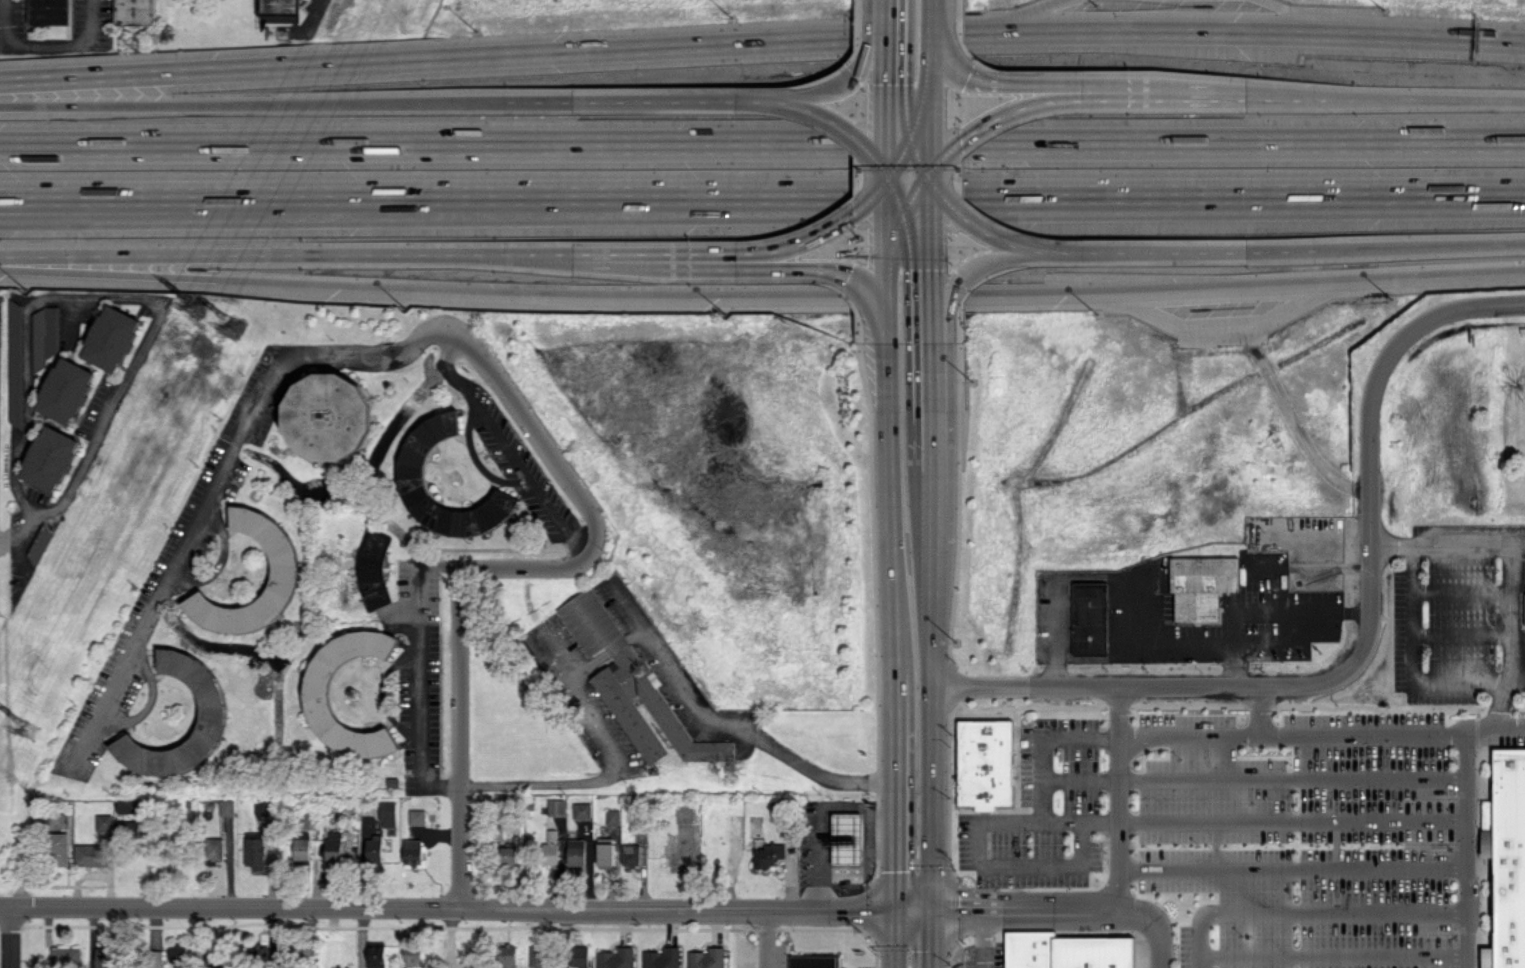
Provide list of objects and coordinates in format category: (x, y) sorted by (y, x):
road: (930, 5)
building: (49, 11)
building: (277, 11)
building: (133, 12)
road: (1017, 16)
road: (1311, 17)
road: (762, 41)
road: (48, 44)
traffic signals: (932, 60)
road: (906, 67)
road: (1043, 82)
road: (838, 83)
road: (887, 88)
road: (931, 92)
road: (1274, 95)
road: (746, 98)
road: (924, 98)
road: (1439, 99)
road: (539, 100)
road: (1050, 100)
road: (251, 102)
road: (762, 143)
road: (919, 154)
road: (902, 156)
traffic signals: (929, 174)
traffic signals: (890, 177)
road: (916, 194)
road: (899, 195)
road: (901, 196)
road: (139, 198)
road: (139, 218)
road: (930, 222)
road: (809, 234)
road: (895, 243)
road: (917, 243)
road: (1420, 247)
road: (1281, 250)
road: (1073, 251)
road: (619, 253)
road: (287, 254)
road: (686, 254)
road: (888, 259)
road: (819, 267)
road: (969, 270)
road: (763, 290)
road: (112, 295)
road: (931, 306)
power tower: (196, 310)
power tower: (236, 329)
building: (44, 334)
road: (1224, 334)
building: (110, 338)
road: (345, 351)
building: (15, 363)
building: (65, 390)
road: (932, 405)
building: (327, 416)
road: (506, 448)
building: (49, 458)
road: (474, 459)
building: (412, 476)
road: (889, 508)
road: (932, 508)
road: (15, 526)
road: (1444, 541)
building: (283, 566)
building: (372, 567)
building: (1200, 585)
road: (1457, 589)
building: (1523, 606)
road: (1262, 612)
building: (1088, 617)
road: (1458, 633)
road: (1505, 634)
road: (1139, 639)
road: (1361, 641)
road: (1099, 658)
road: (1410, 667)
road: (418, 673)
building: (630, 683)
building: (316, 692)
road: (380, 693)
road: (149, 702)
building: (211, 707)
road: (1255, 707)
road: (722, 720)
road: (929, 726)
power tower: (34, 729)
road: (1319, 731)
road: (457, 736)
road: (1037, 739)
road: (608, 763)
building: (983, 763)
road: (1287, 777)
road: (1075, 778)
road: (892, 790)
road: (1113, 794)
building: (127, 805)
building: (555, 806)
building: (226, 807)
building: (581, 810)
building: (387, 813)
building: (683, 813)
building: (416, 816)
building: (611, 816)
road: (1287, 817)
building: (56, 820)
building: (103, 823)
building: (129, 828)
building: (846, 838)
road: (974, 843)
building: (332, 845)
building: (550, 847)
road: (1462, 847)
building: (57, 848)
building: (214, 849)
building: (254, 849)
building: (373, 849)
building: (301, 850)
building: (575, 850)
building: (412, 851)
building: (605, 851)
building: (509, 852)
building: (89, 854)
building: (629, 854)
building: (680, 854)
building: (767, 854)
building: (1504, 857)
road: (1288, 867)
road: (1046, 905)
traffic signals: (928, 907)
traffic signals: (893, 908)
road: (1302, 908)
road: (6, 909)
road: (453, 910)
road: (928, 937)
road: (978, 937)
road: (767, 938)
road: (893, 938)
road: (13, 939)
road: (558, 939)
building: (1066, 951)
road: (1329, 952)
building: (263, 953)
building: (375, 954)
building: (179, 956)
building: (412, 956)
building: (507, 956)
building: (536, 956)
building: (65, 957)
building: (105, 957)
building: (157, 957)
building: (615, 958)
building: (661, 958)
building: (706, 958)

